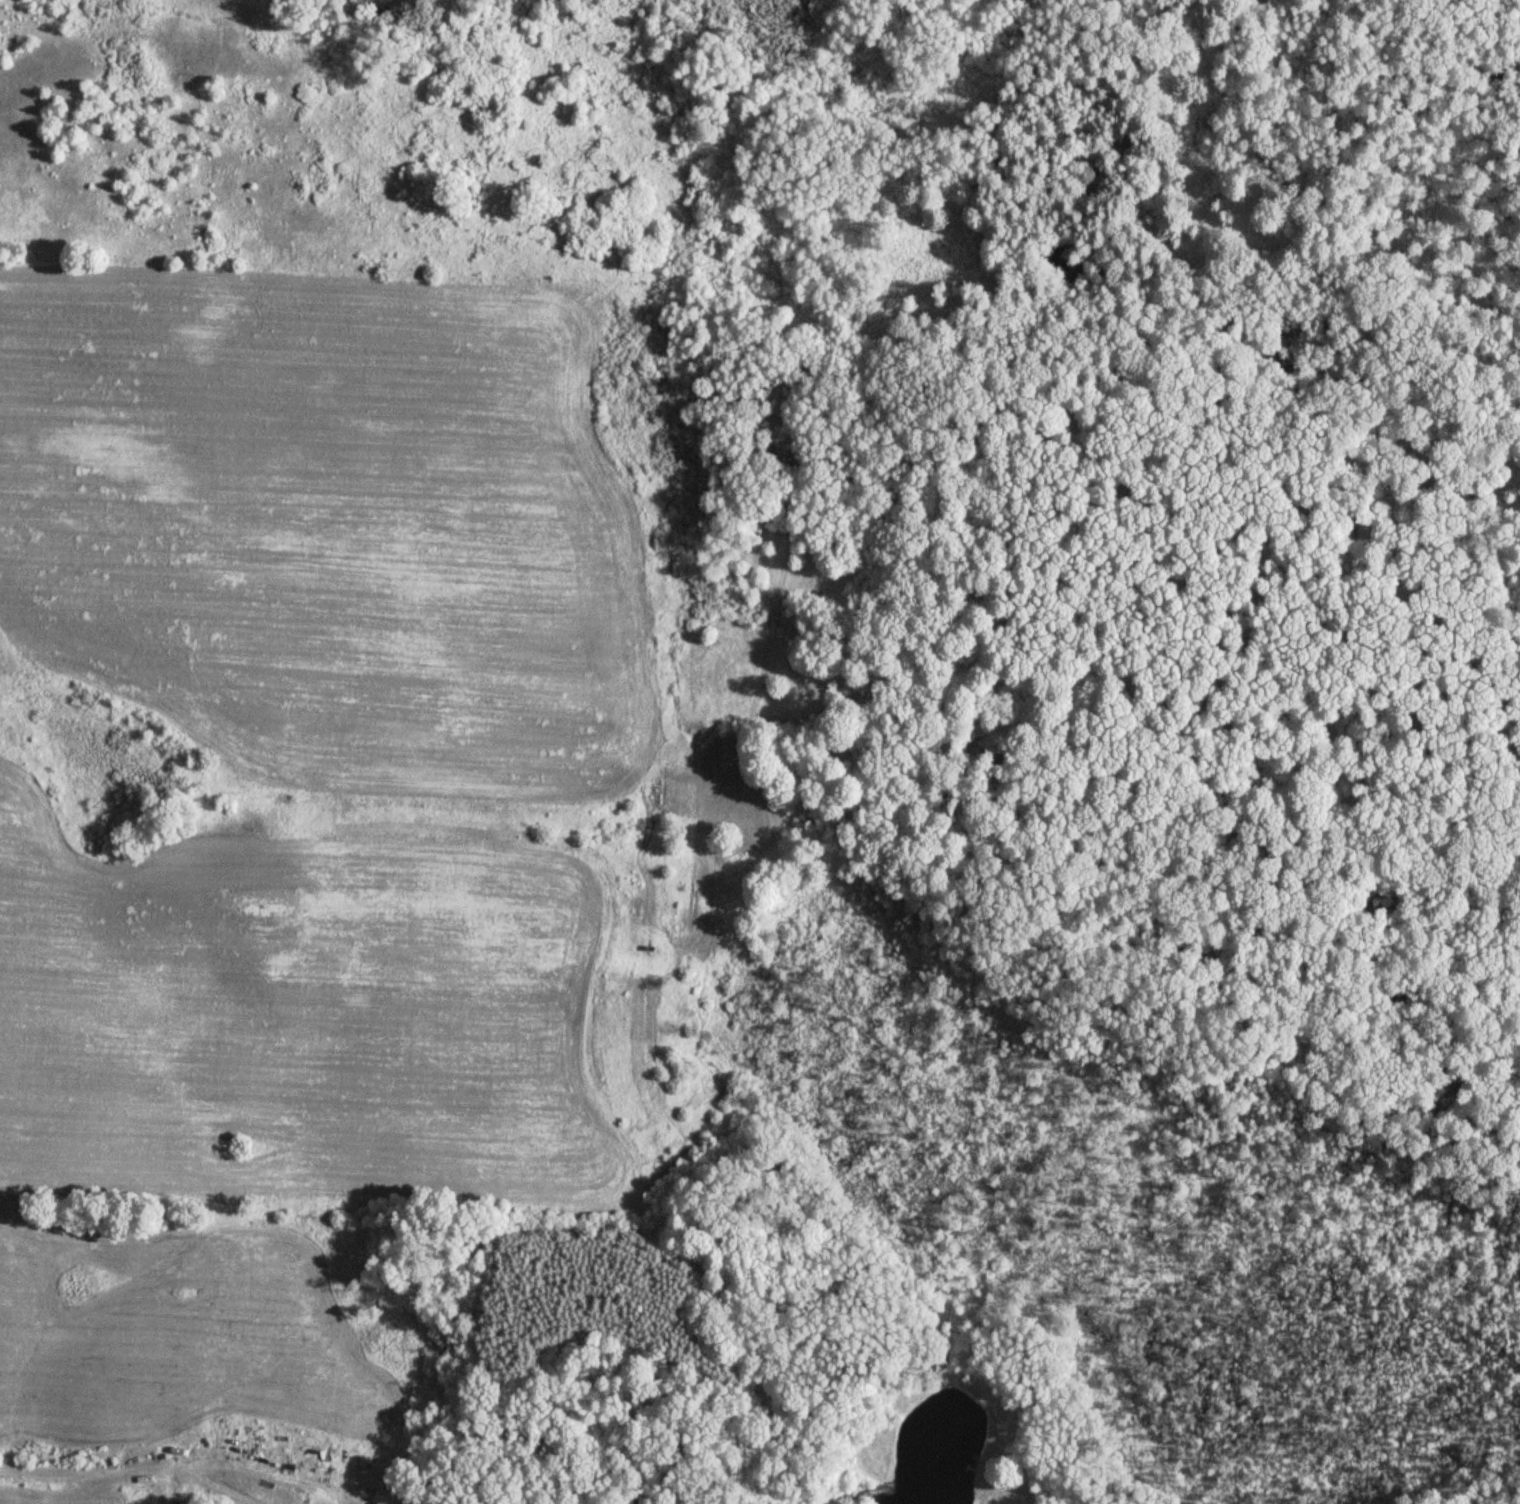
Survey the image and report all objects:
building: (391, 1498)

